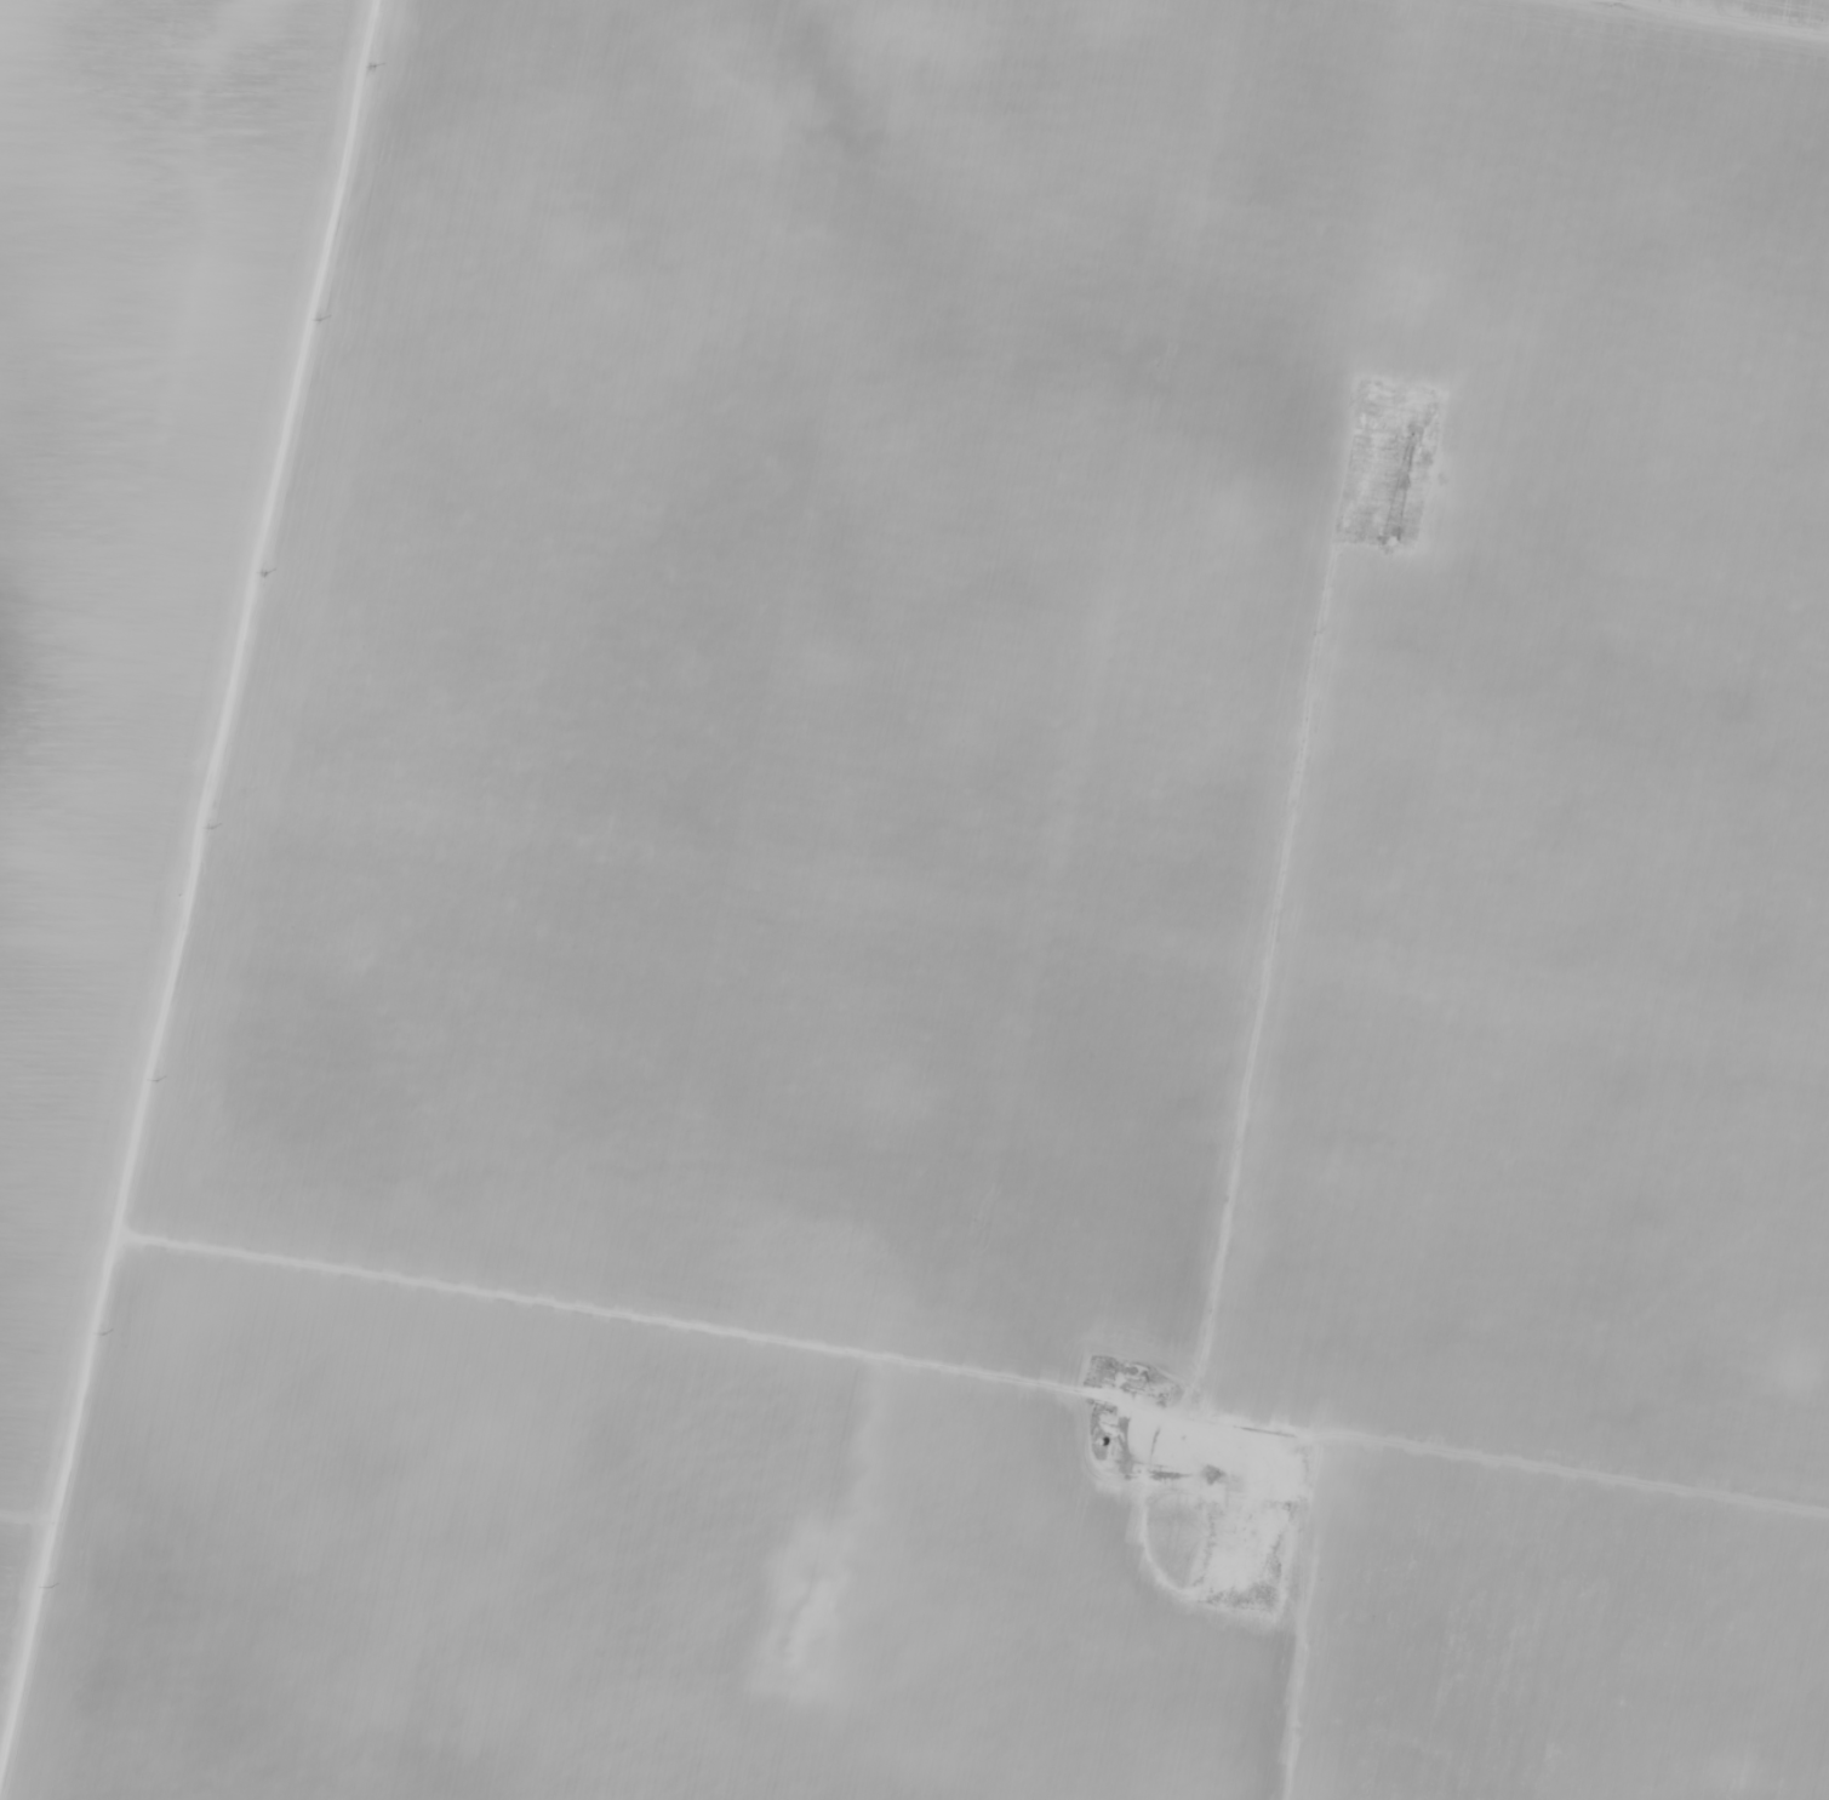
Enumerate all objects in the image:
road: (1679, 25)

